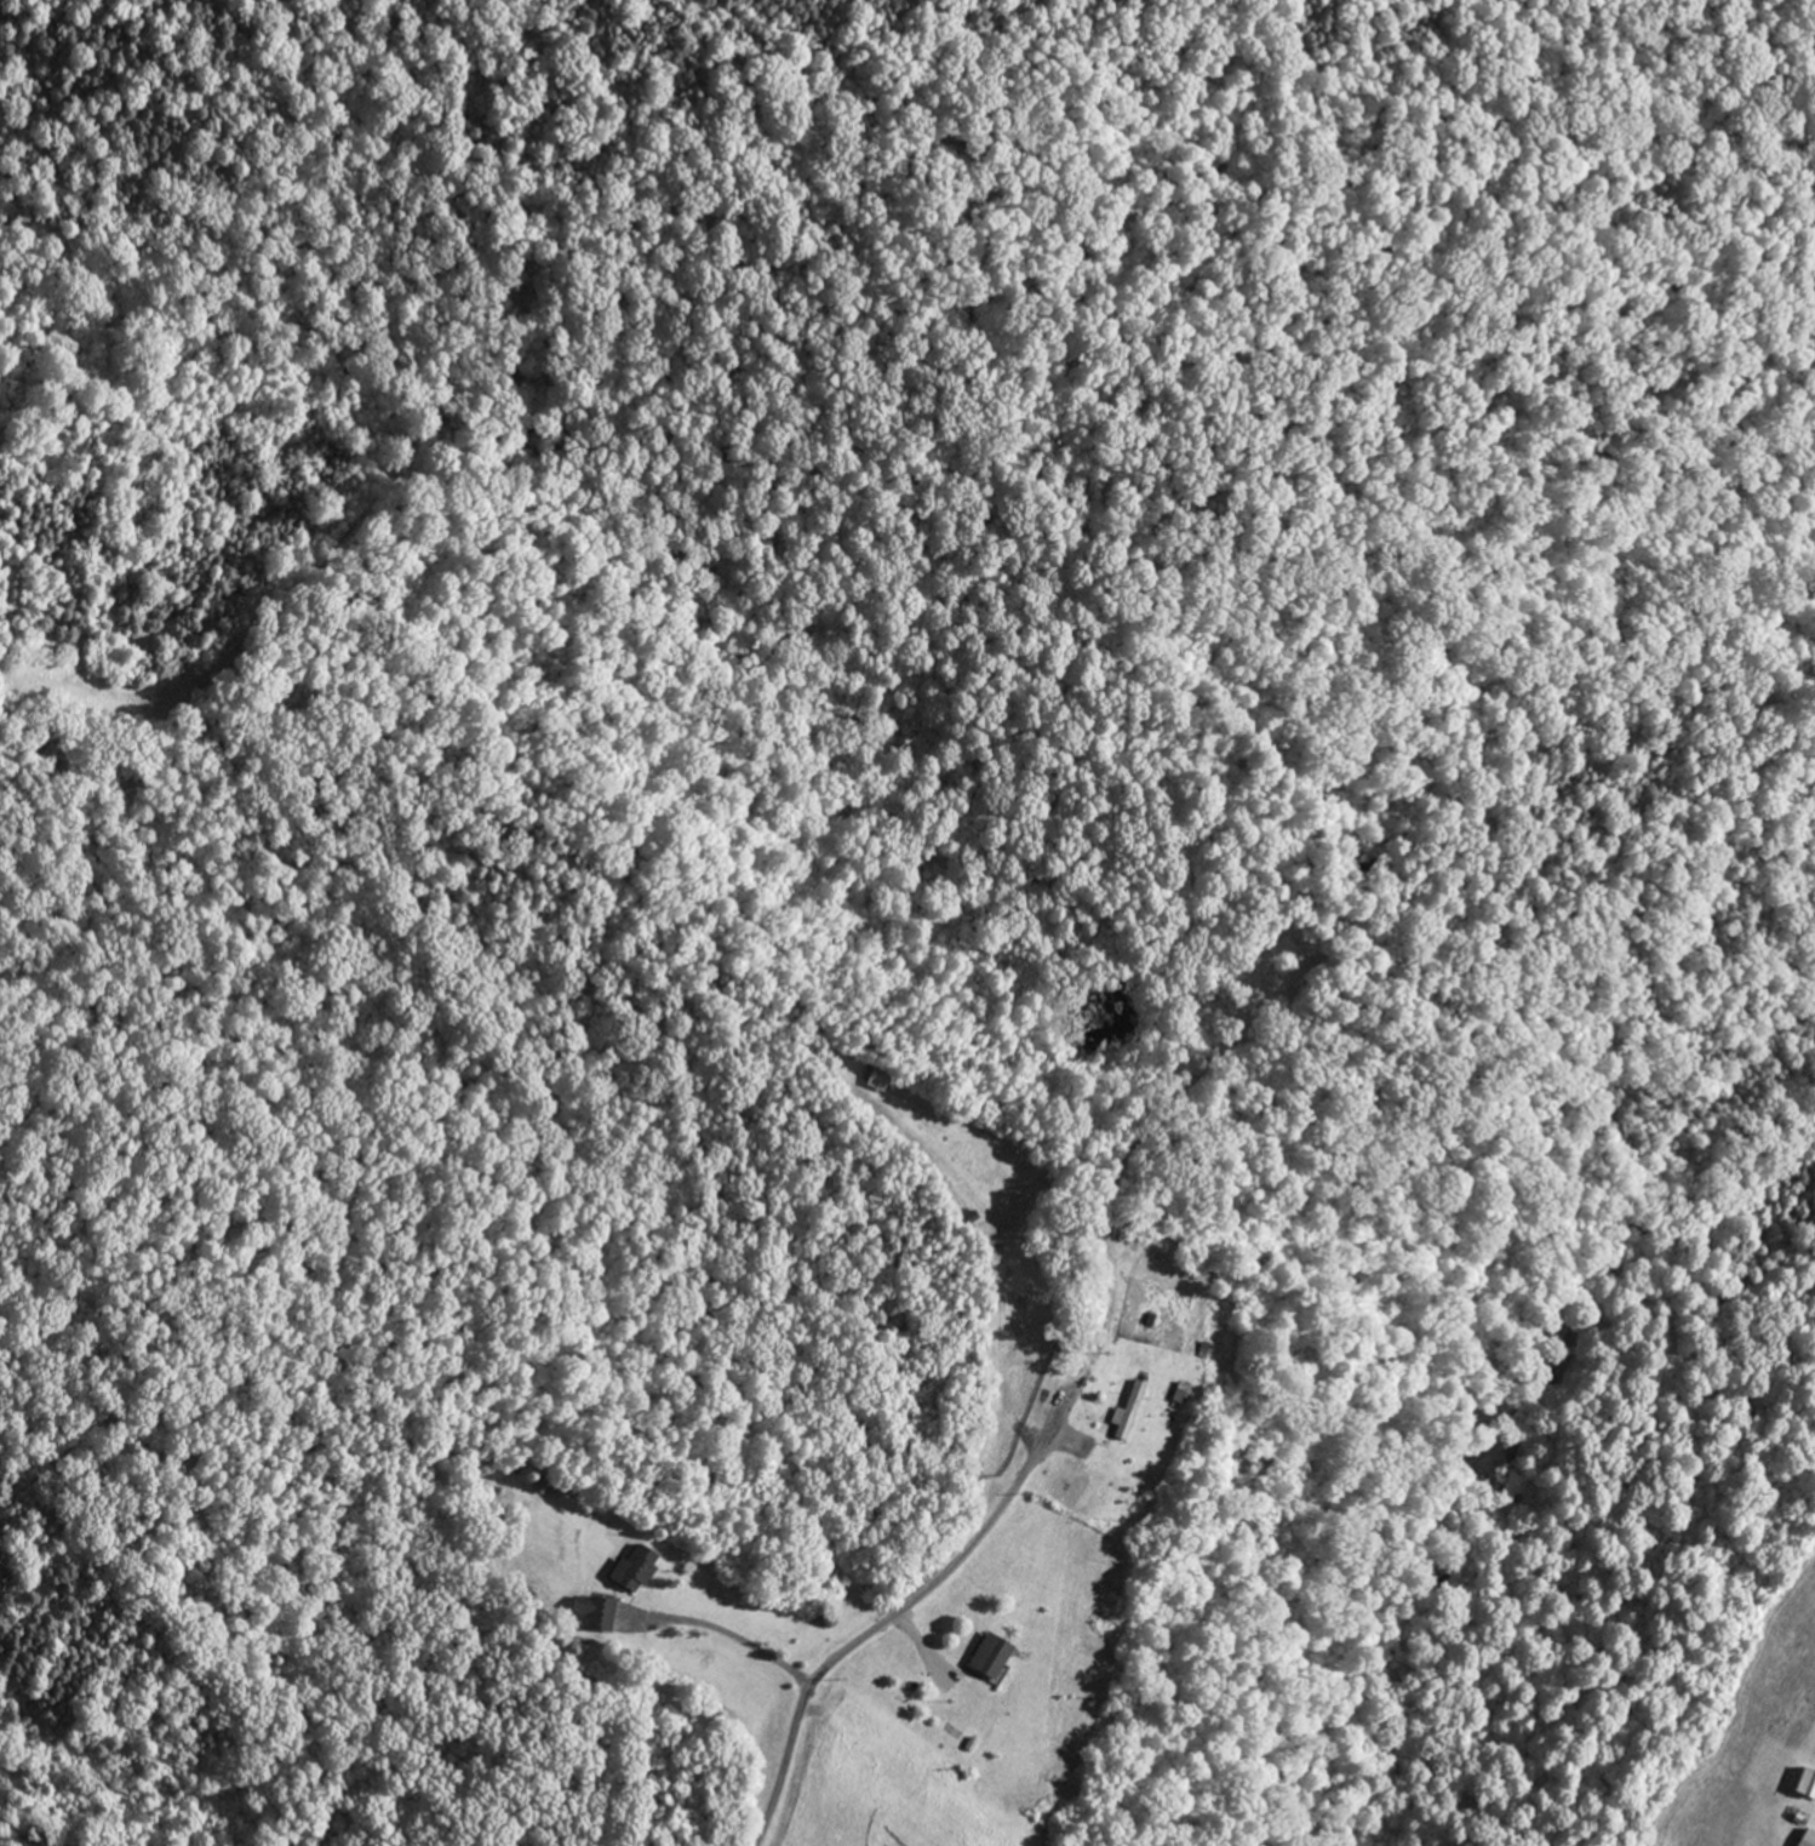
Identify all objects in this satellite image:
building: (1132, 1408)
road: (1021, 1475)
building: (634, 1568)
building: (596, 1611)
building: (991, 1656)
building: (1807, 1782)
building: (1808, 1838)

